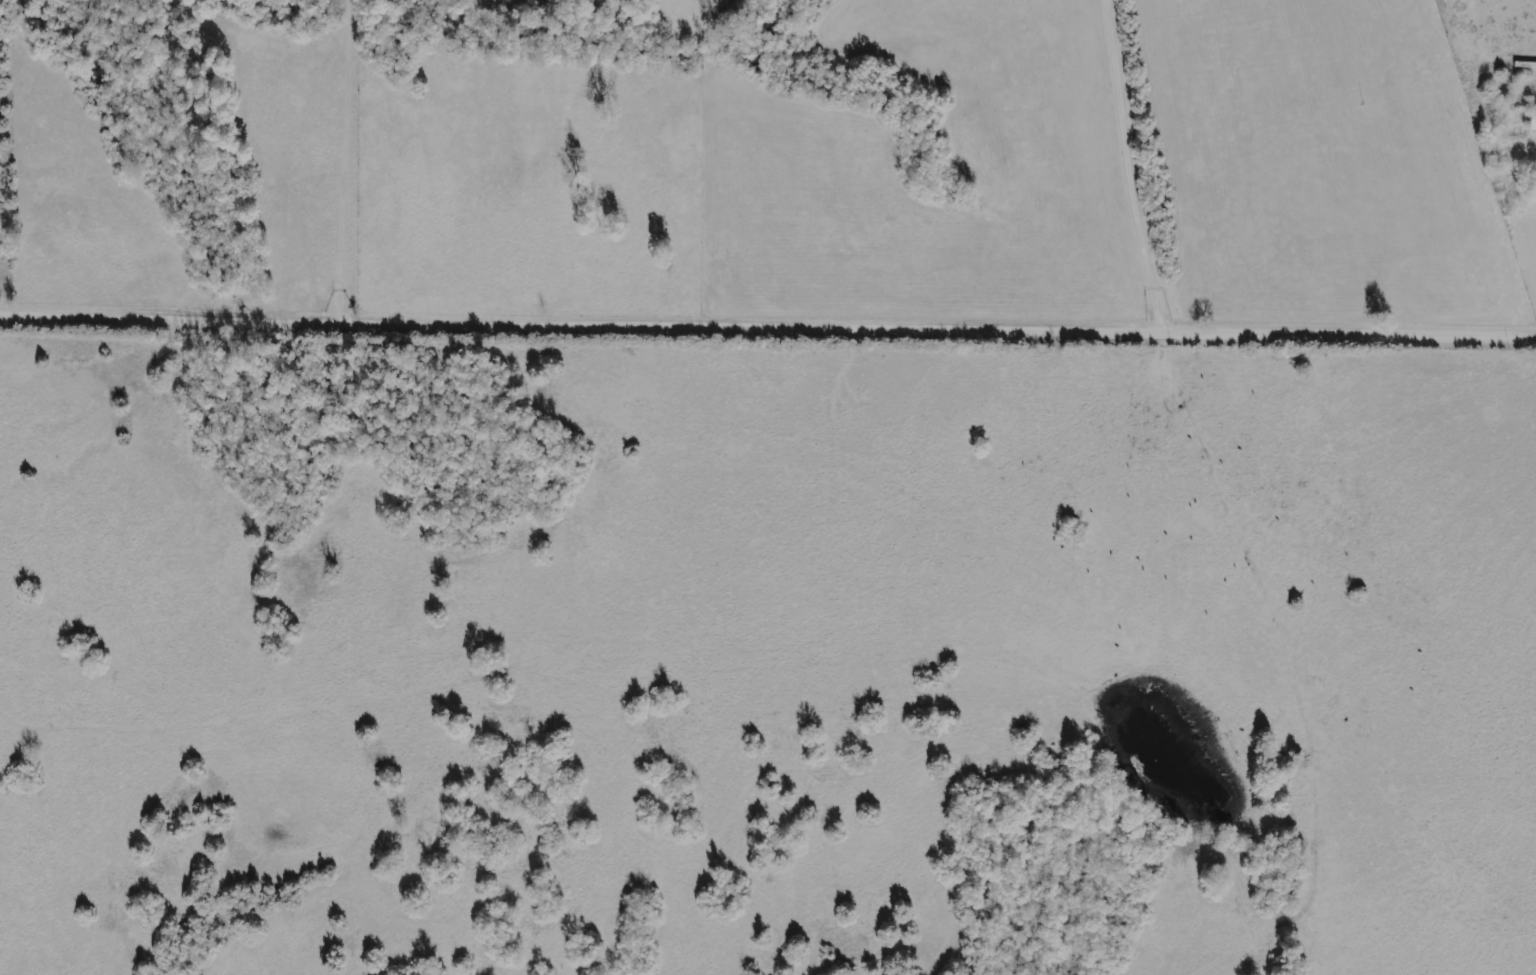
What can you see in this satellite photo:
building: (1532, 121)
road: (767, 324)

